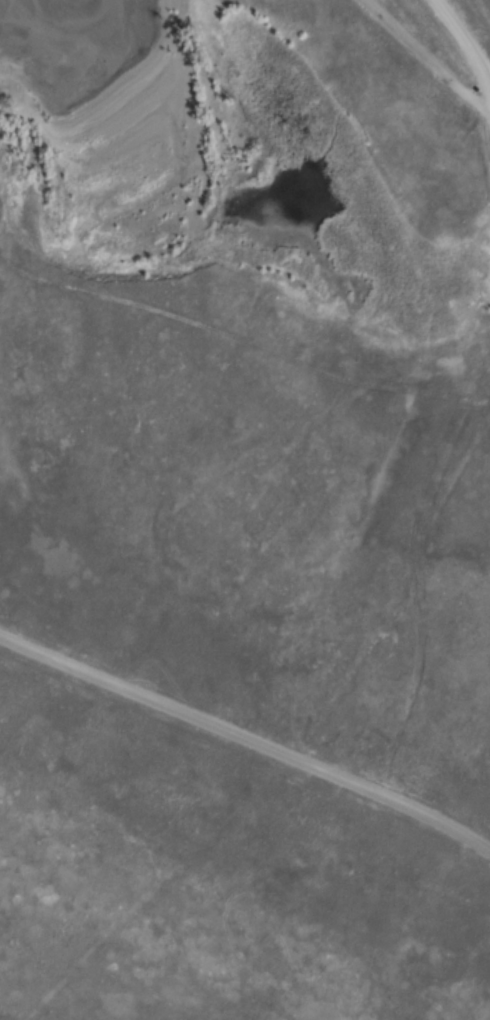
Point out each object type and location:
road: (248, 737)

